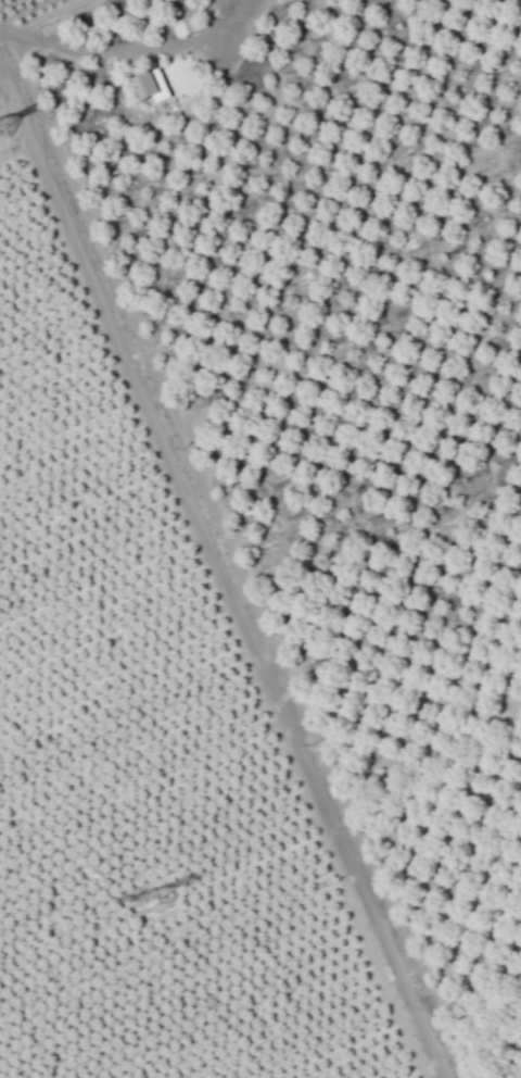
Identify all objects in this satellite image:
road: (48, 14)
building: (183, 26)
road: (134, 52)
building: (149, 84)
power tower: (0, 127)
road: (221, 566)
power tower: (154, 899)

